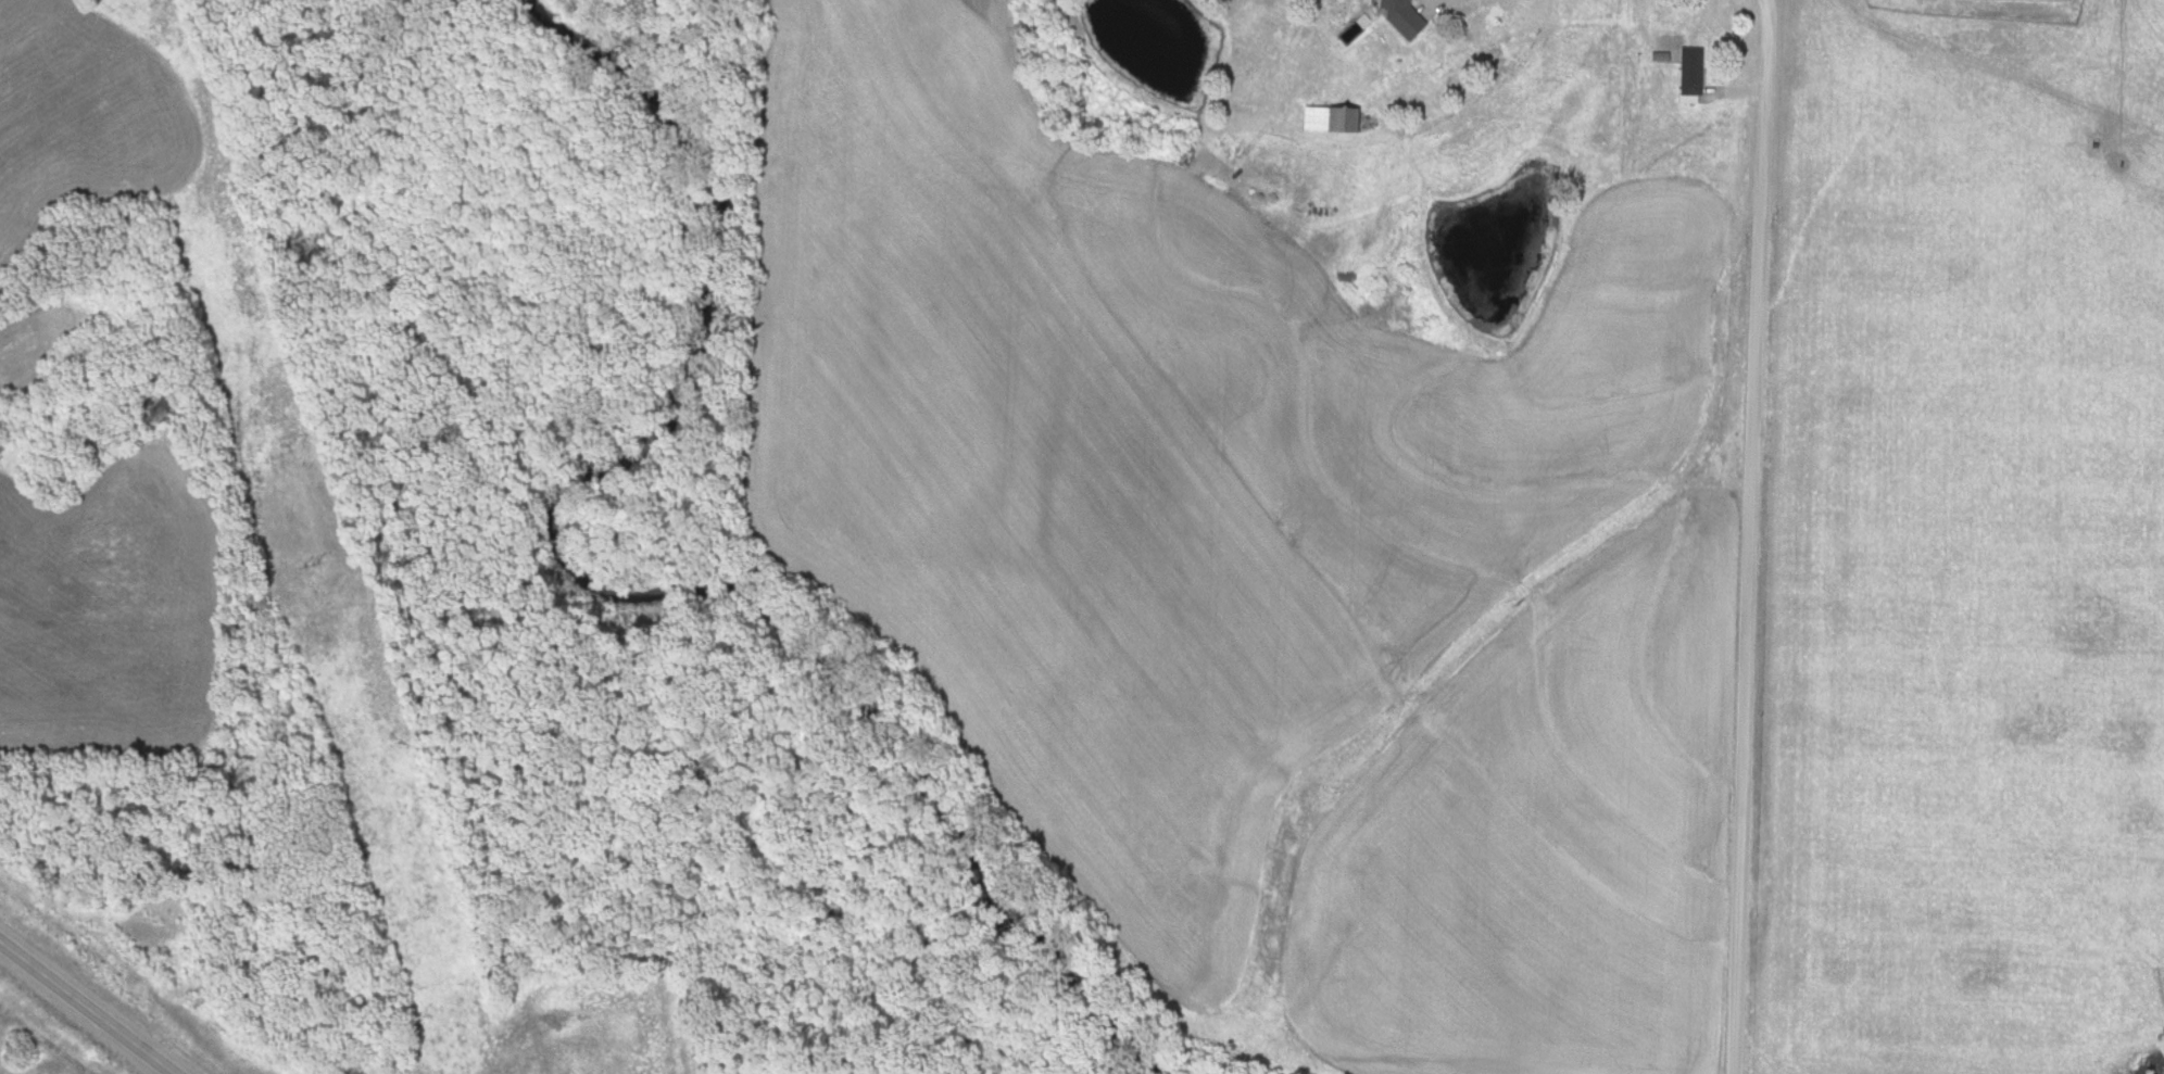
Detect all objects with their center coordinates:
building: (1391, 48)
building: (1687, 73)
crop: (81, 114)
road: (1996, 115)
building: (1325, 119)
crop: (54, 331)
crop: (1145, 455)
road: (1750, 536)
crop: (109, 606)
crop: (1542, 842)
road: (87, 1008)

